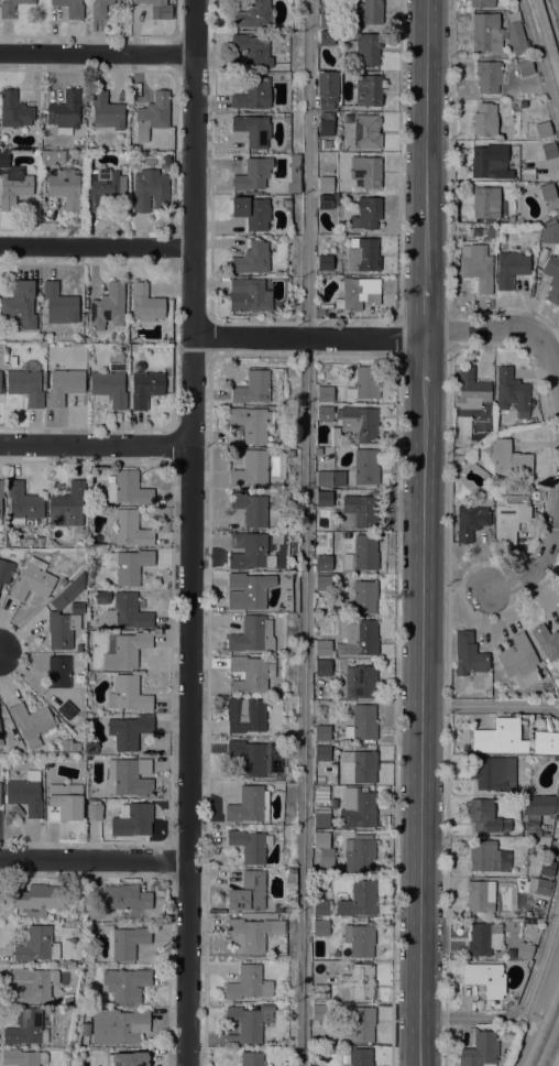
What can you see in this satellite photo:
building: (481, 3)
building: (11, 8)
building: (70, 8)
building: (155, 8)
building: (99, 9)
building: (366, 12)
building: (253, 14)
building: (327, 21)
building: (485, 32)
building: (326, 37)
building: (515, 37)
road: (546, 42)
building: (368, 48)
building: (252, 51)
road: (97, 53)
road: (539, 64)
building: (524, 68)
building: (487, 77)
building: (327, 89)
building: (368, 90)
building: (252, 94)
building: (13, 110)
building: (106, 112)
building: (64, 113)
building: (152, 115)
building: (326, 119)
building: (484, 120)
building: (252, 130)
building: (542, 130)
building: (365, 132)
road: (426, 143)
building: (549, 151)
building: (35, 153)
building: (51, 157)
road: (451, 157)
building: (165, 162)
building: (490, 162)
road: (193, 167)
building: (365, 172)
building: (252, 174)
building: (325, 184)
building: (13, 187)
building: (103, 187)
building: (66, 188)
building: (149, 191)
building: (274, 191)
building: (547, 192)
building: (327, 202)
building: (485, 203)
road: (397, 205)
building: (251, 213)
building: (366, 214)
building: (511, 219)
building: (490, 232)
building: (549, 233)
road: (96, 246)
building: (363, 257)
building: (252, 259)
building: (325, 263)
building: (476, 266)
building: (509, 269)
building: (552, 278)
building: (359, 293)
building: (248, 296)
building: (144, 304)
building: (59, 305)
building: (19, 306)
building: (107, 307)
road: (425, 312)
building: (320, 313)
road: (450, 330)
road: (516, 330)
road: (308, 337)
road: (397, 338)
building: (42, 339)
building: (88, 340)
road: (425, 363)
building: (0, 376)
building: (365, 383)
building: (64, 385)
building: (25, 387)
building: (109, 388)
building: (252, 388)
building: (1, 389)
building: (145, 389)
road: (190, 390)
building: (471, 390)
building: (512, 393)
building: (325, 394)
building: (325, 414)
building: (250, 423)
building: (360, 424)
building: (234, 437)
road: (95, 444)
building: (458, 448)
building: (288, 454)
building: (508, 458)
building: (365, 467)
building: (250, 469)
building: (324, 478)
building: (128, 489)
building: (1, 492)
building: (324, 499)
building: (22, 504)
building: (67, 505)
building: (250, 509)
building: (362, 509)
building: (509, 516)
building: (470, 522)
building: (130, 529)
road: (305, 532)
building: (41, 542)
building: (248, 551)
building: (362, 554)
road: (541, 561)
building: (322, 563)
building: (129, 566)
building: (6, 572)
building: (33, 580)
building: (63, 583)
building: (324, 584)
building: (72, 589)
building: (248, 591)
building: (364, 597)
building: (57, 602)
building: (127, 612)
building: (61, 630)
building: (252, 635)
building: (359, 638)
building: (546, 642)
building: (322, 648)
building: (125, 650)
building: (468, 655)
building: (518, 661)
road: (394, 665)
building: (322, 667)
building: (89, 668)
building: (250, 673)
building: (59, 674)
building: (90, 677)
building: (362, 681)
building: (271, 690)
building: (128, 694)
road: (446, 705)
road: (491, 705)
building: (66, 710)
building: (244, 715)
building: (31, 724)
building: (362, 724)
road: (419, 726)
building: (128, 731)
building: (321, 733)
building: (498, 738)
building: (0, 739)
building: (546, 742)
building: (91, 748)
building: (321, 753)
road: (187, 754)
building: (250, 758)
building: (556, 758)
building: (80, 763)
building: (361, 764)
building: (492, 773)
building: (129, 777)
building: (277, 777)
building: (319, 781)
building: (557, 783)
building: (320, 794)
building: (24, 796)
building: (62, 799)
building: (332, 803)
building: (248, 805)
building: (539, 805)
building: (358, 807)
building: (94, 809)
building: (321, 817)
building: (485, 817)
building: (131, 819)
building: (321, 840)
building: (250, 845)
building: (359, 853)
building: (326, 856)
building: (485, 856)
road: (94, 859)
building: (546, 868)
building: (292, 871)
building: (539, 886)
building: (248, 892)
building: (480, 895)
building: (125, 898)
building: (39, 900)
building: (358, 900)
building: (320, 909)
building: (274, 910)
building: (259, 916)
building: (525, 923)
building: (320, 928)
building: (252, 934)
building: (360, 939)
building: (483, 939)
building: (124, 942)
building: (36, 945)
building: (524, 950)
building: (484, 978)
building: (357, 982)
building: (248, 983)
building: (31, 985)
building: (125, 985)
building: (320, 992)
building: (66, 1000)
road: (523, 1000)
building: (320, 1013)
building: (248, 1023)
building: (360, 1025)
building: (119, 1026)
building: (26, 1027)
building: (480, 1051)
building: (22, 1057)
building: (359, 1057)
building: (131, 1058)
building: (251, 1058)
road: (558, 1064)

